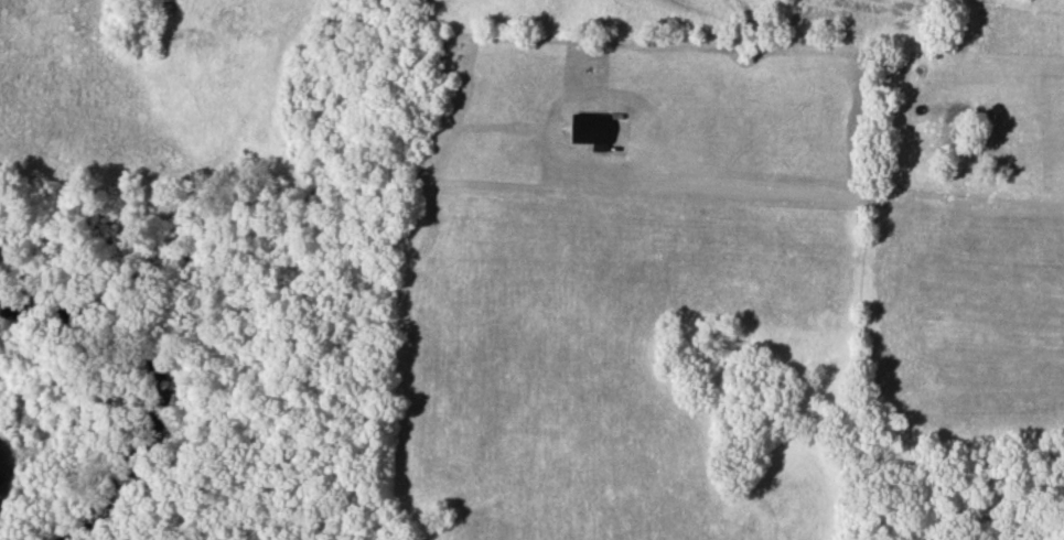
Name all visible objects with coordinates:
building: (590, 129)

